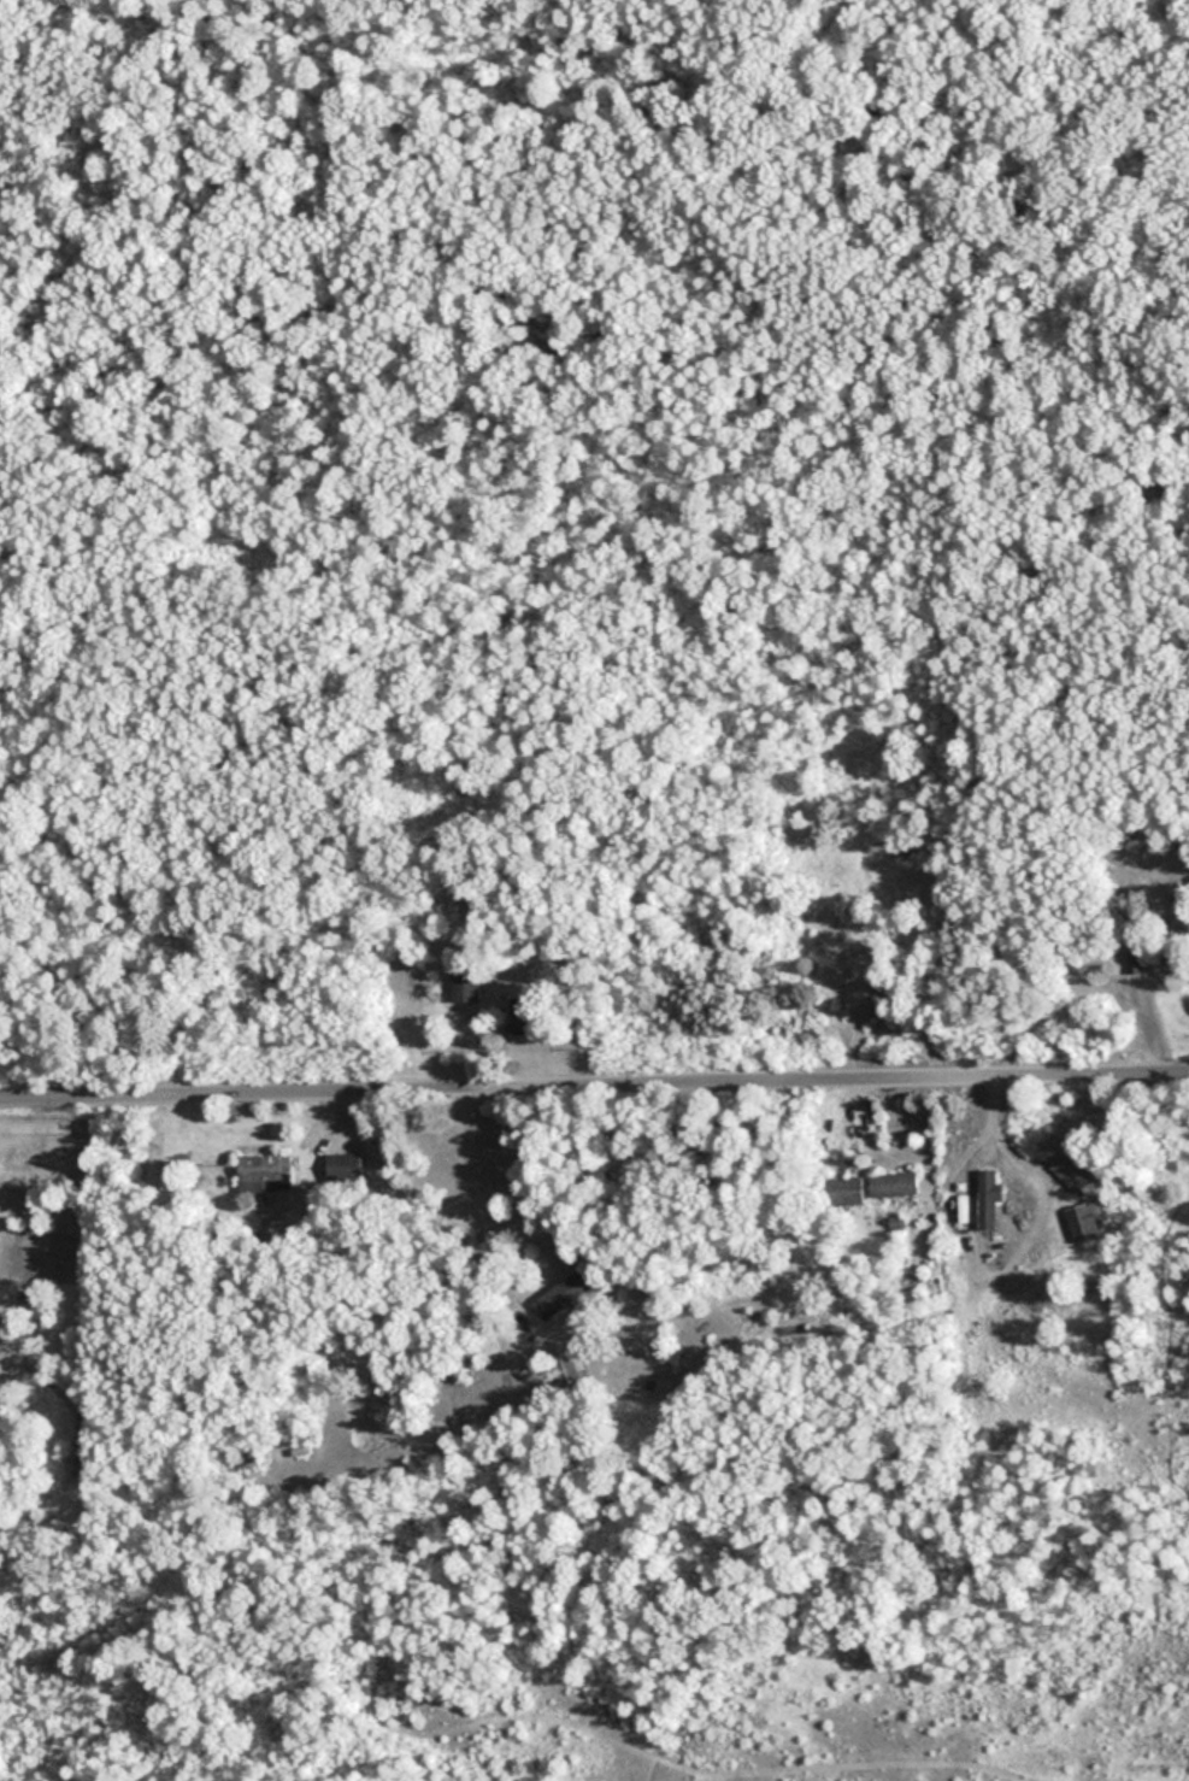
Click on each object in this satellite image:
park: (1050, 245)
park: (179, 549)
building: (1136, 963)
building: (465, 987)
building: (525, 1017)
road: (594, 1088)
building: (343, 1169)
building: (264, 1172)
building: (1071, 1172)
building: (895, 1185)
building: (843, 1192)
building: (989, 1201)
building: (563, 1295)
building: (567, 1365)

